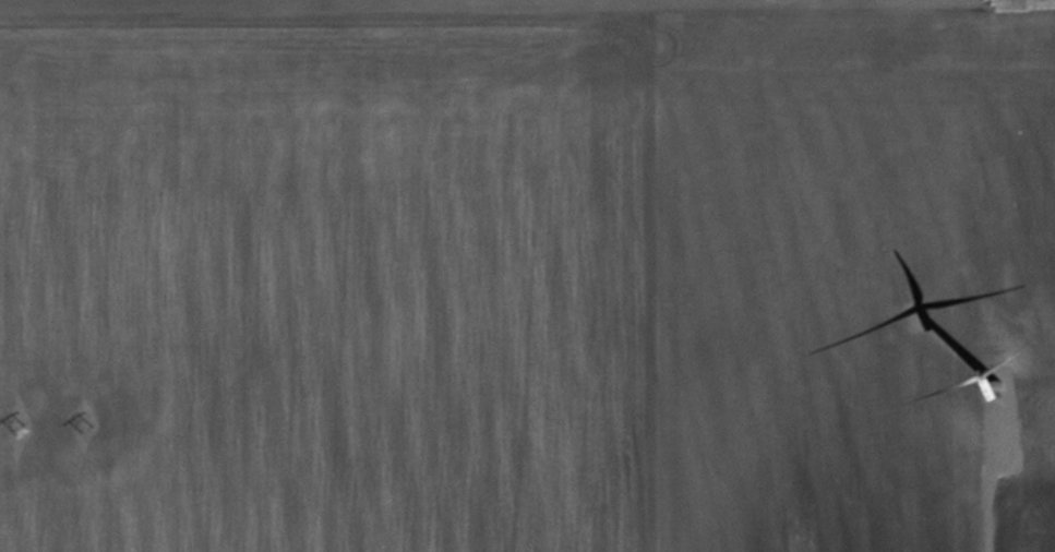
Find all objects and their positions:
wind turbine: (996, 380)
power tower: (87, 427)
power tower: (21, 430)
road: (993, 485)

